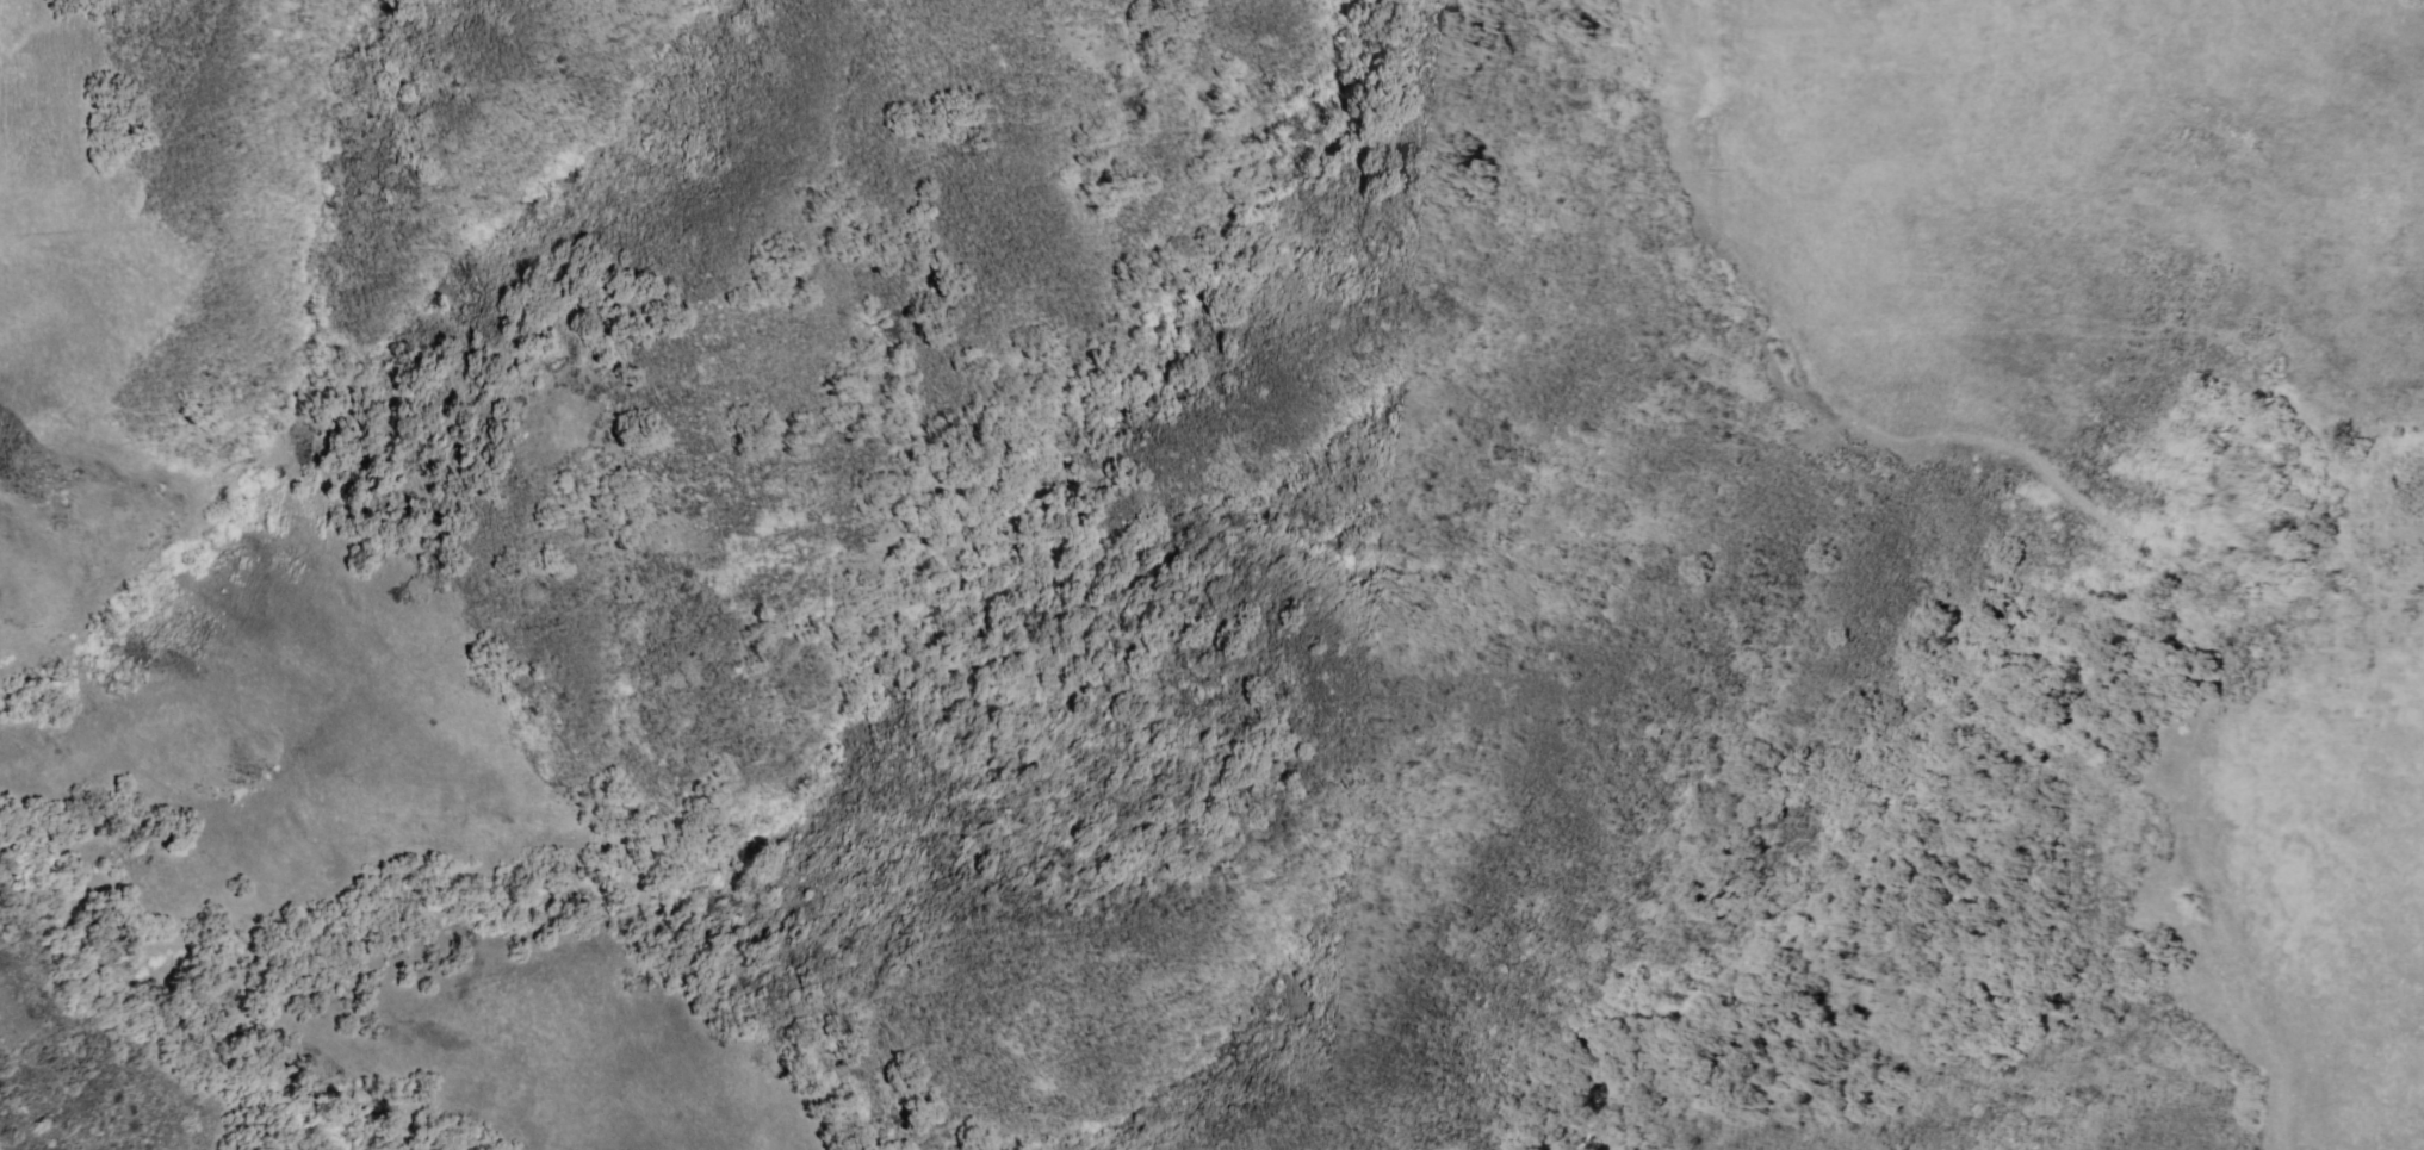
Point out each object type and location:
road: (2085, 499)

